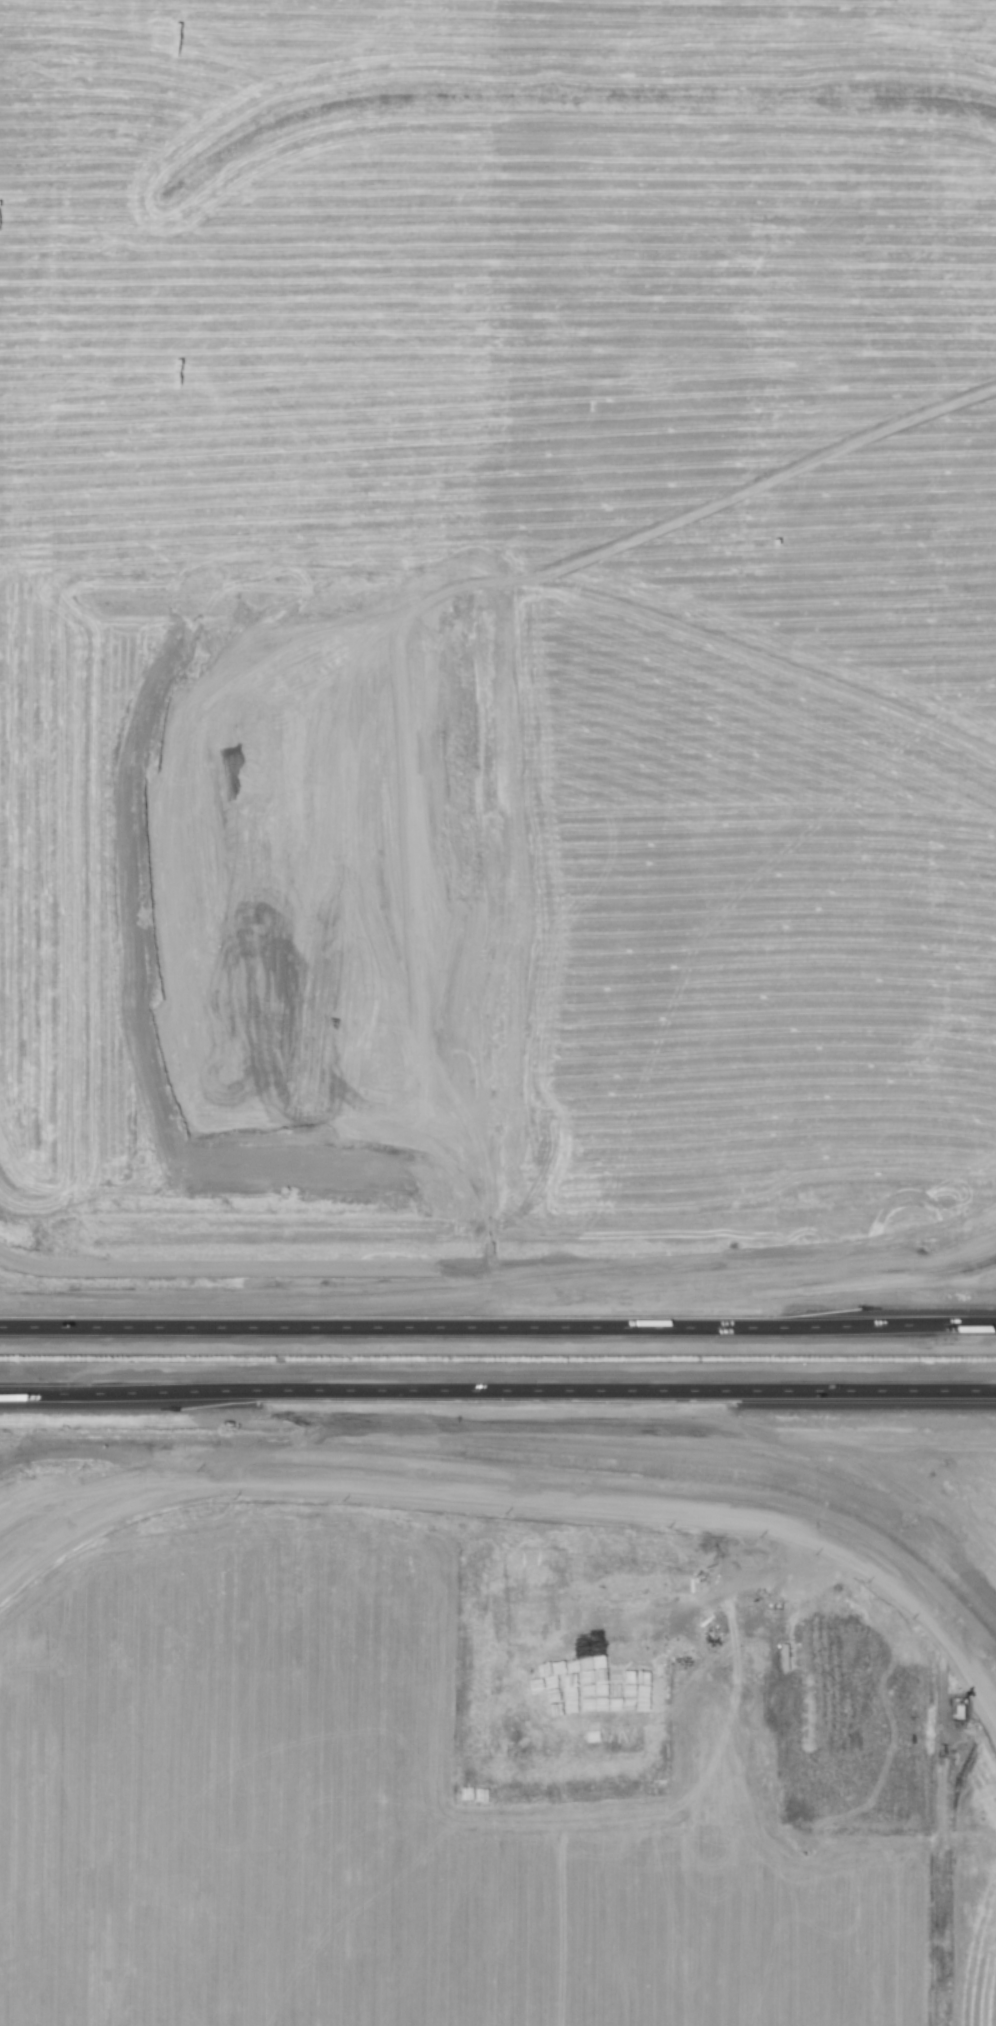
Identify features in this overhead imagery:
road: (38, 1267)
road: (262, 1275)
road: (713, 1286)
road: (498, 1322)
road: (213, 1396)
road: (711, 1398)
road: (727, 1440)
road: (522, 1495)

